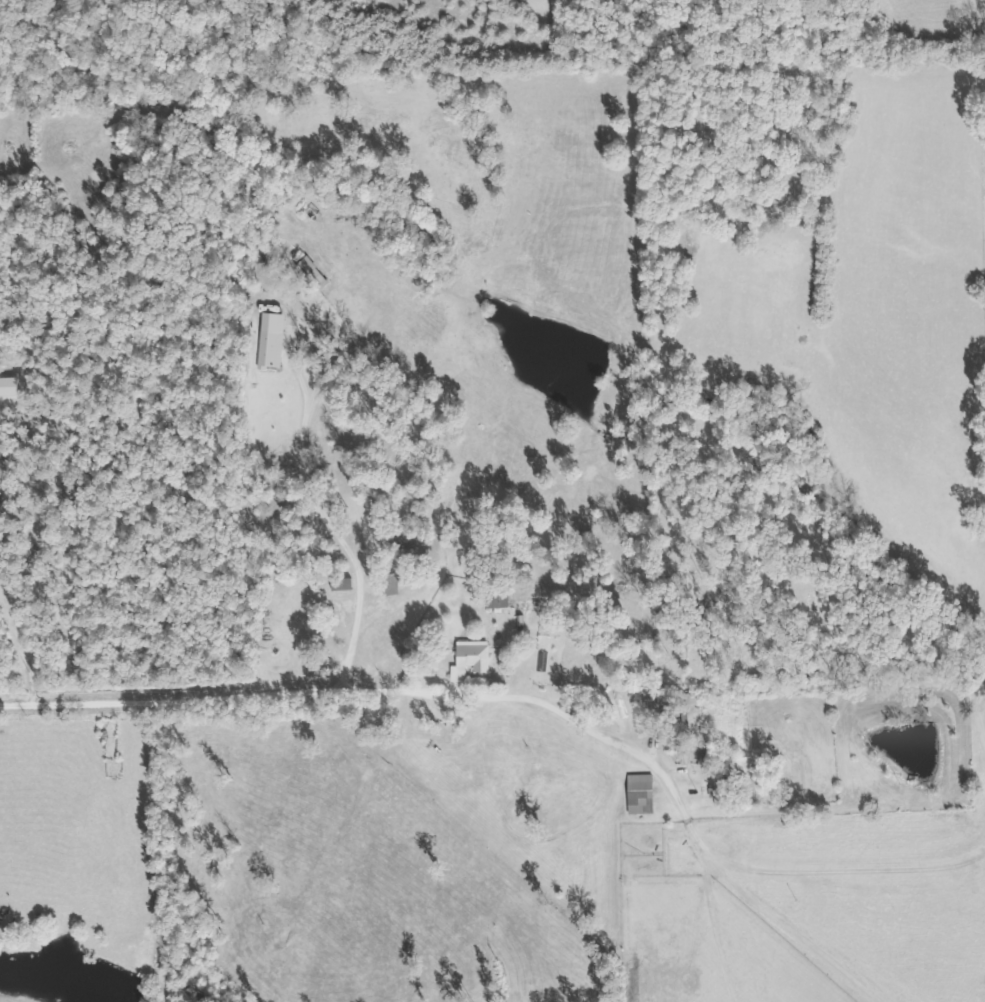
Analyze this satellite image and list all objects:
building: (309, 272)
building: (267, 339)
building: (399, 537)
building: (390, 581)
building: (338, 583)
building: (494, 598)
building: (466, 661)
road: (501, 705)
building: (688, 708)
building: (703, 752)
building: (637, 793)

